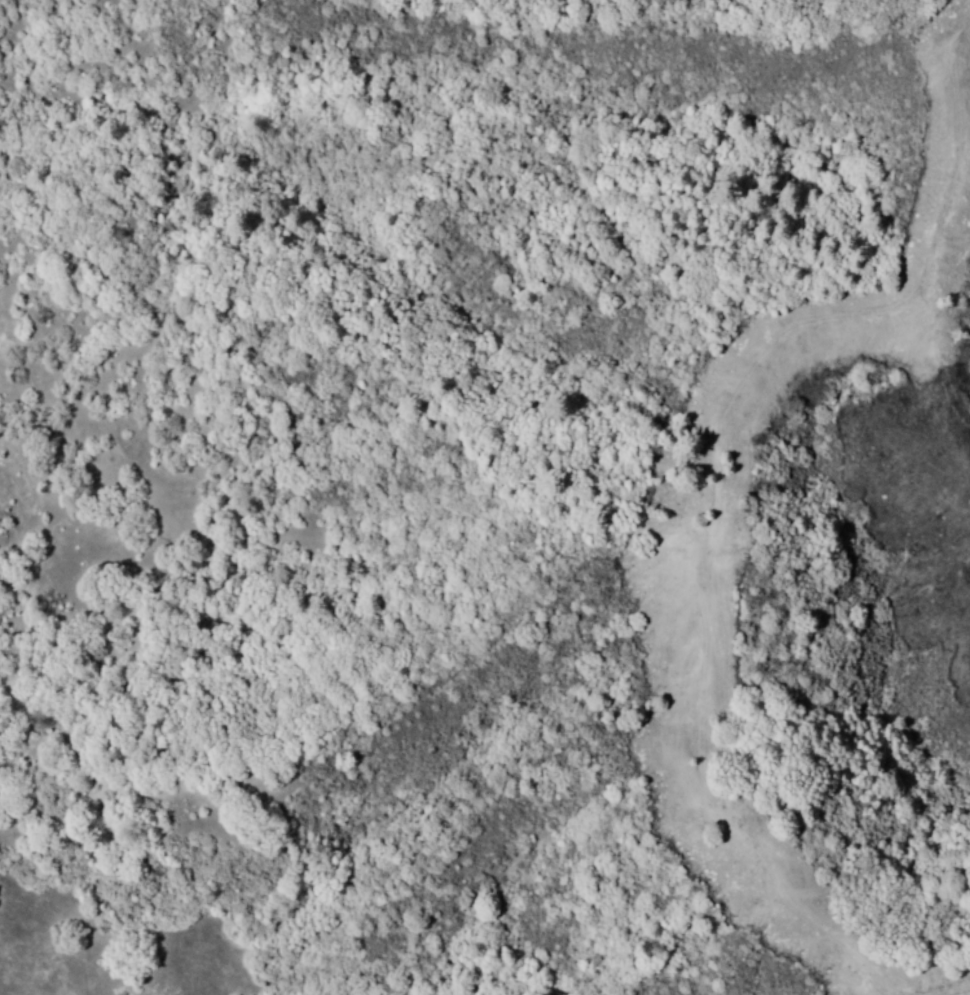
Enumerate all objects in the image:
road: (35, 73)

